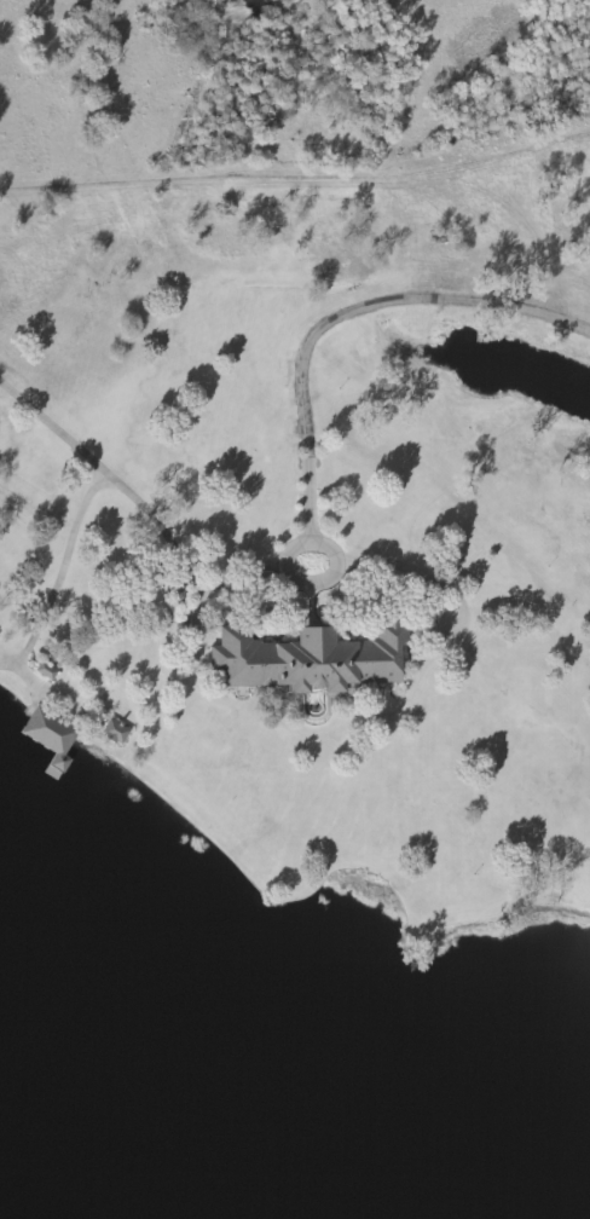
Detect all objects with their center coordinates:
road: (343, 316)
road: (112, 478)
road: (422, 571)
road: (319, 579)
road: (56, 582)
road: (212, 587)
building: (174, 593)
road: (311, 603)
road: (12, 651)
building: (308, 657)
building: (45, 669)
building: (112, 729)
building: (48, 735)

